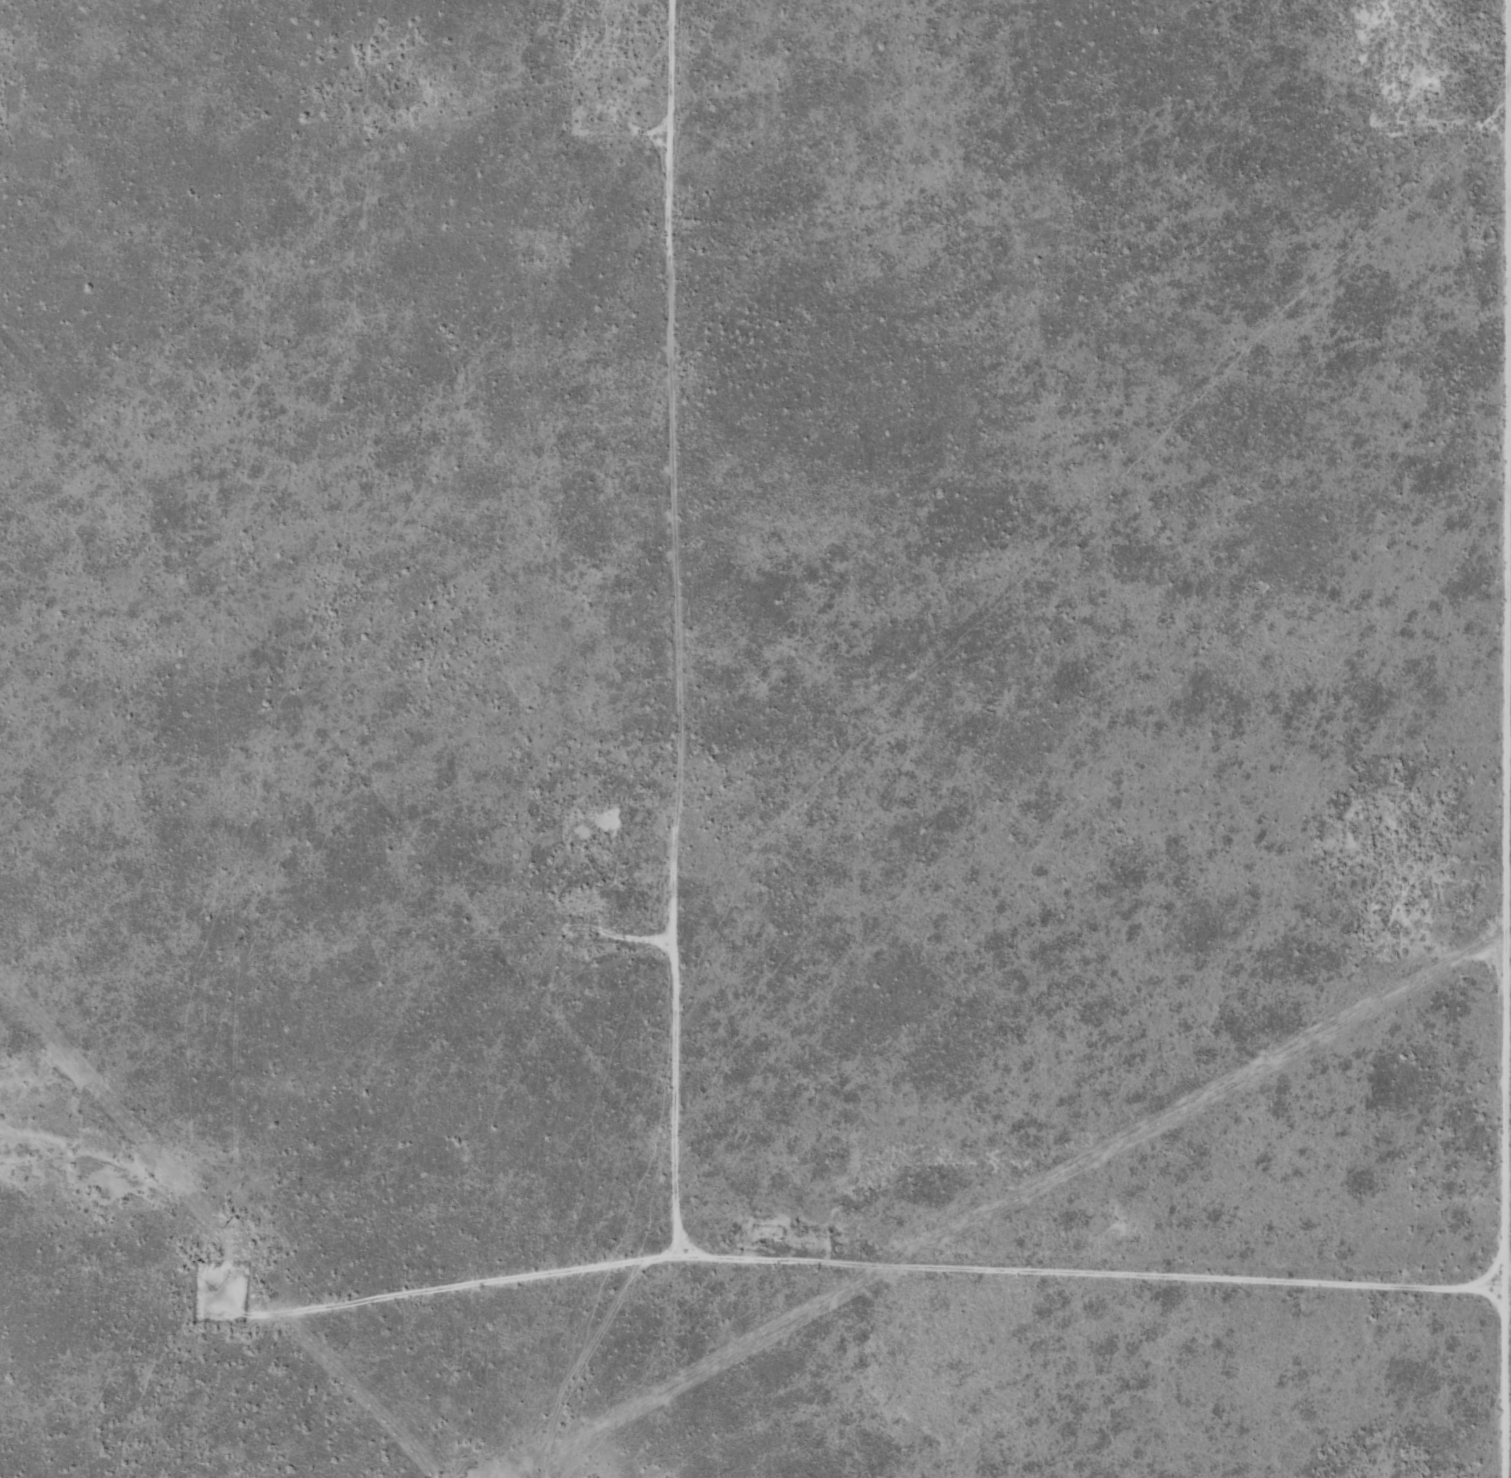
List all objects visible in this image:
road: (715, 1010)

